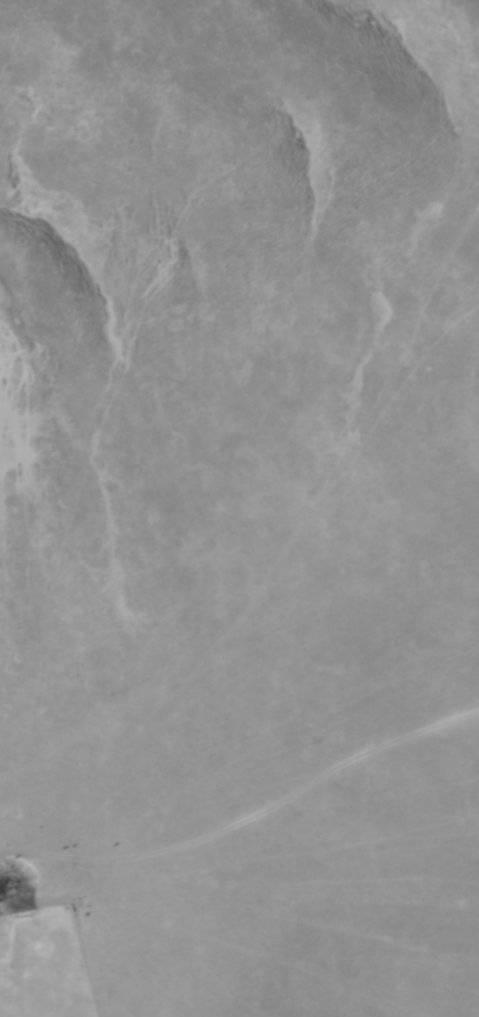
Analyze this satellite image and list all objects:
road: (247, 821)

